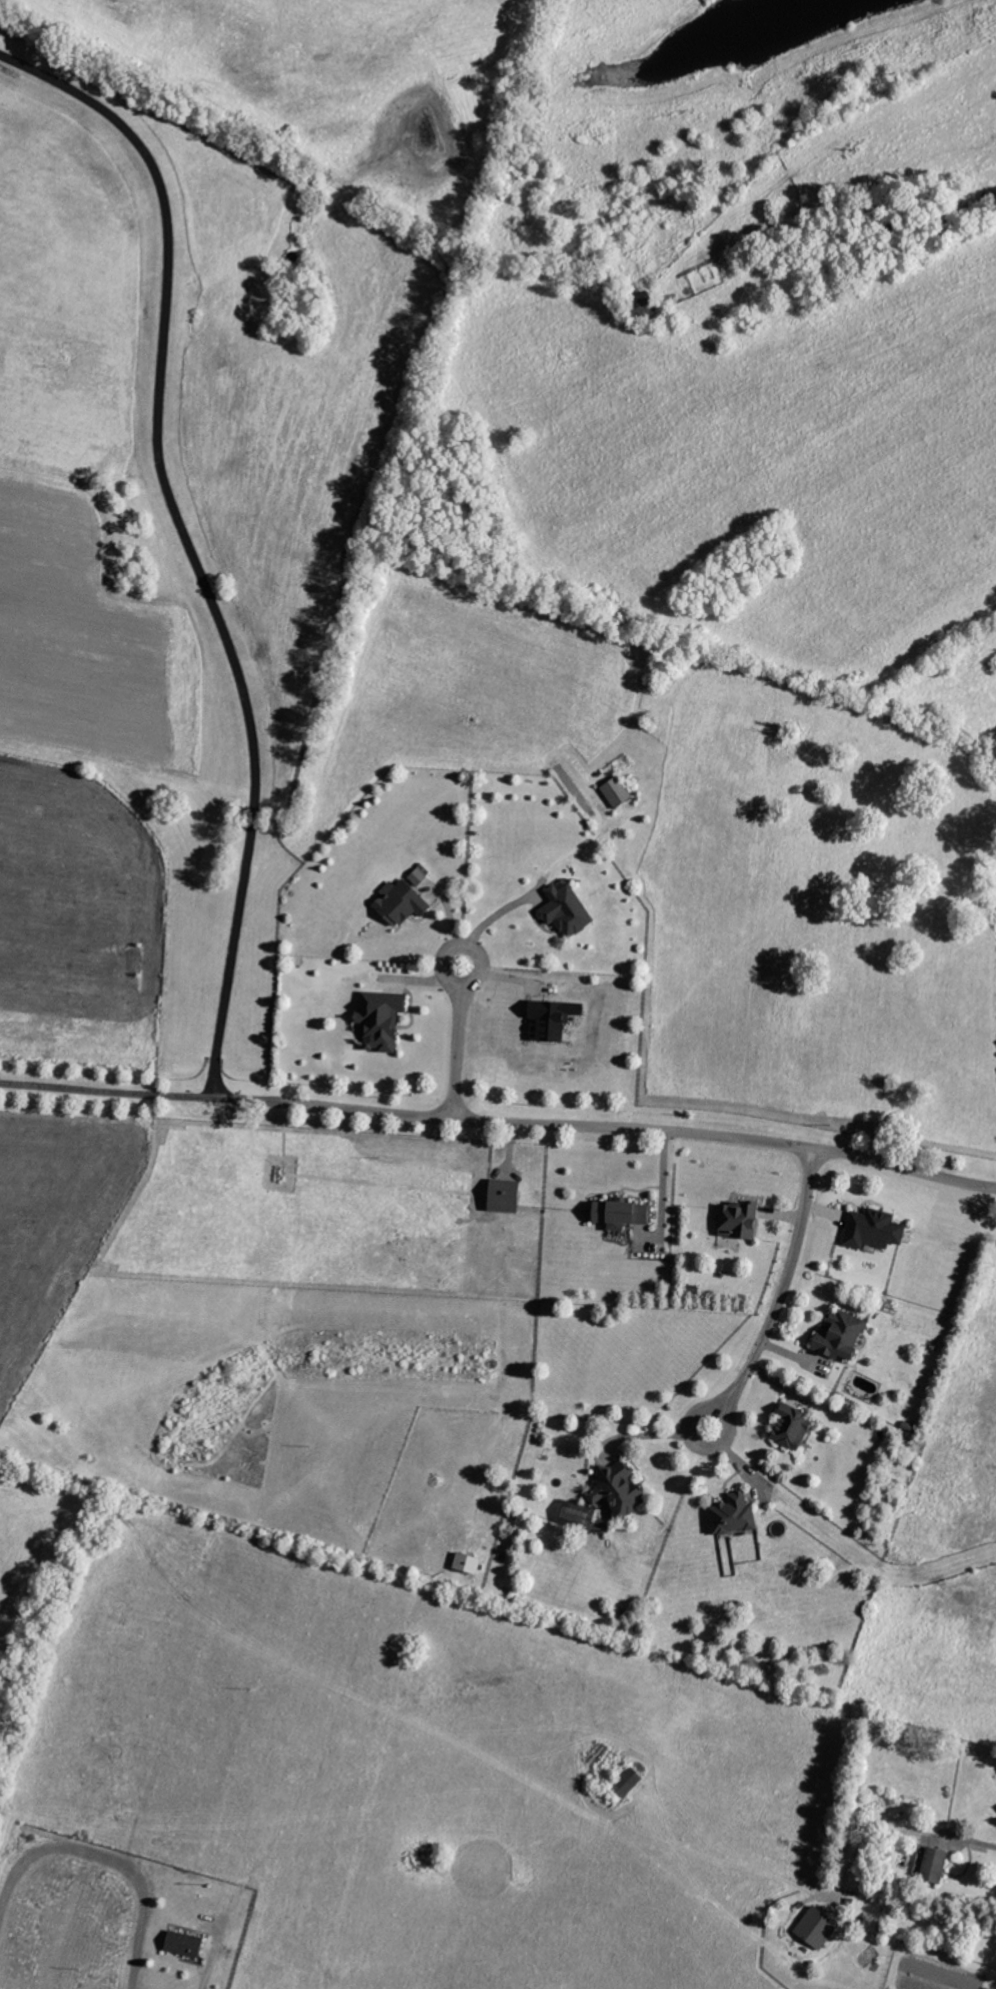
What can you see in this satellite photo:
road: (185, 537)
building: (620, 794)
building: (422, 878)
building: (405, 903)
building: (572, 911)
road: (489, 920)
building: (387, 1020)
road: (457, 1043)
road: (500, 1123)
building: (511, 1196)
building: (627, 1214)
building: (743, 1221)
building: (880, 1230)
road: (780, 1296)
building: (846, 1337)
building: (799, 1428)
road: (658, 1435)
building: (623, 1490)
building: (739, 1516)
building: (580, 1517)
building: (472, 1564)
building: (632, 1783)
road: (898, 1833)
building: (940, 1866)
building: (820, 1929)
building: (190, 1945)
road: (213, 1958)

